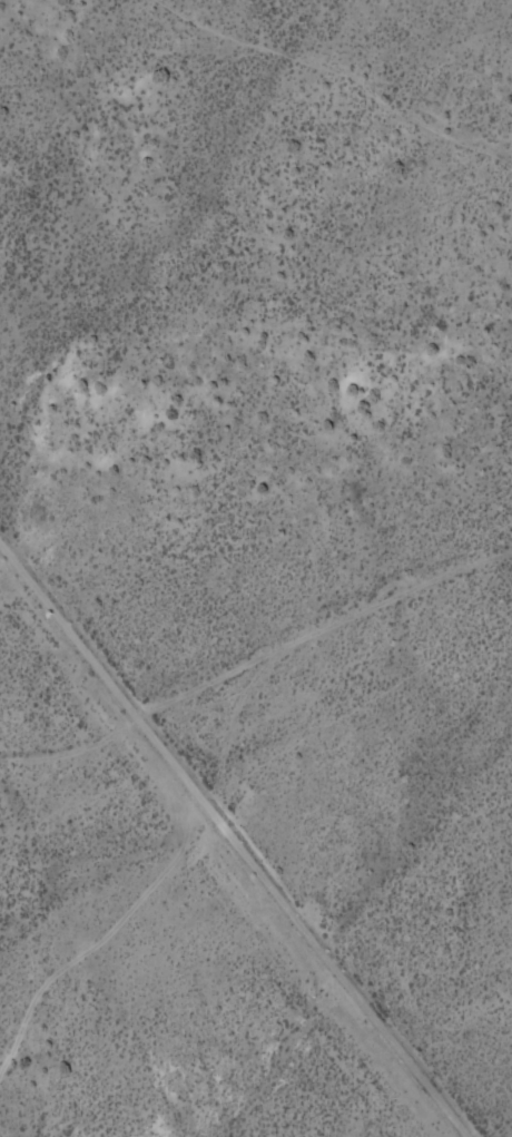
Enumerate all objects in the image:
road: (71, 643)
road: (256, 667)
road: (295, 929)

